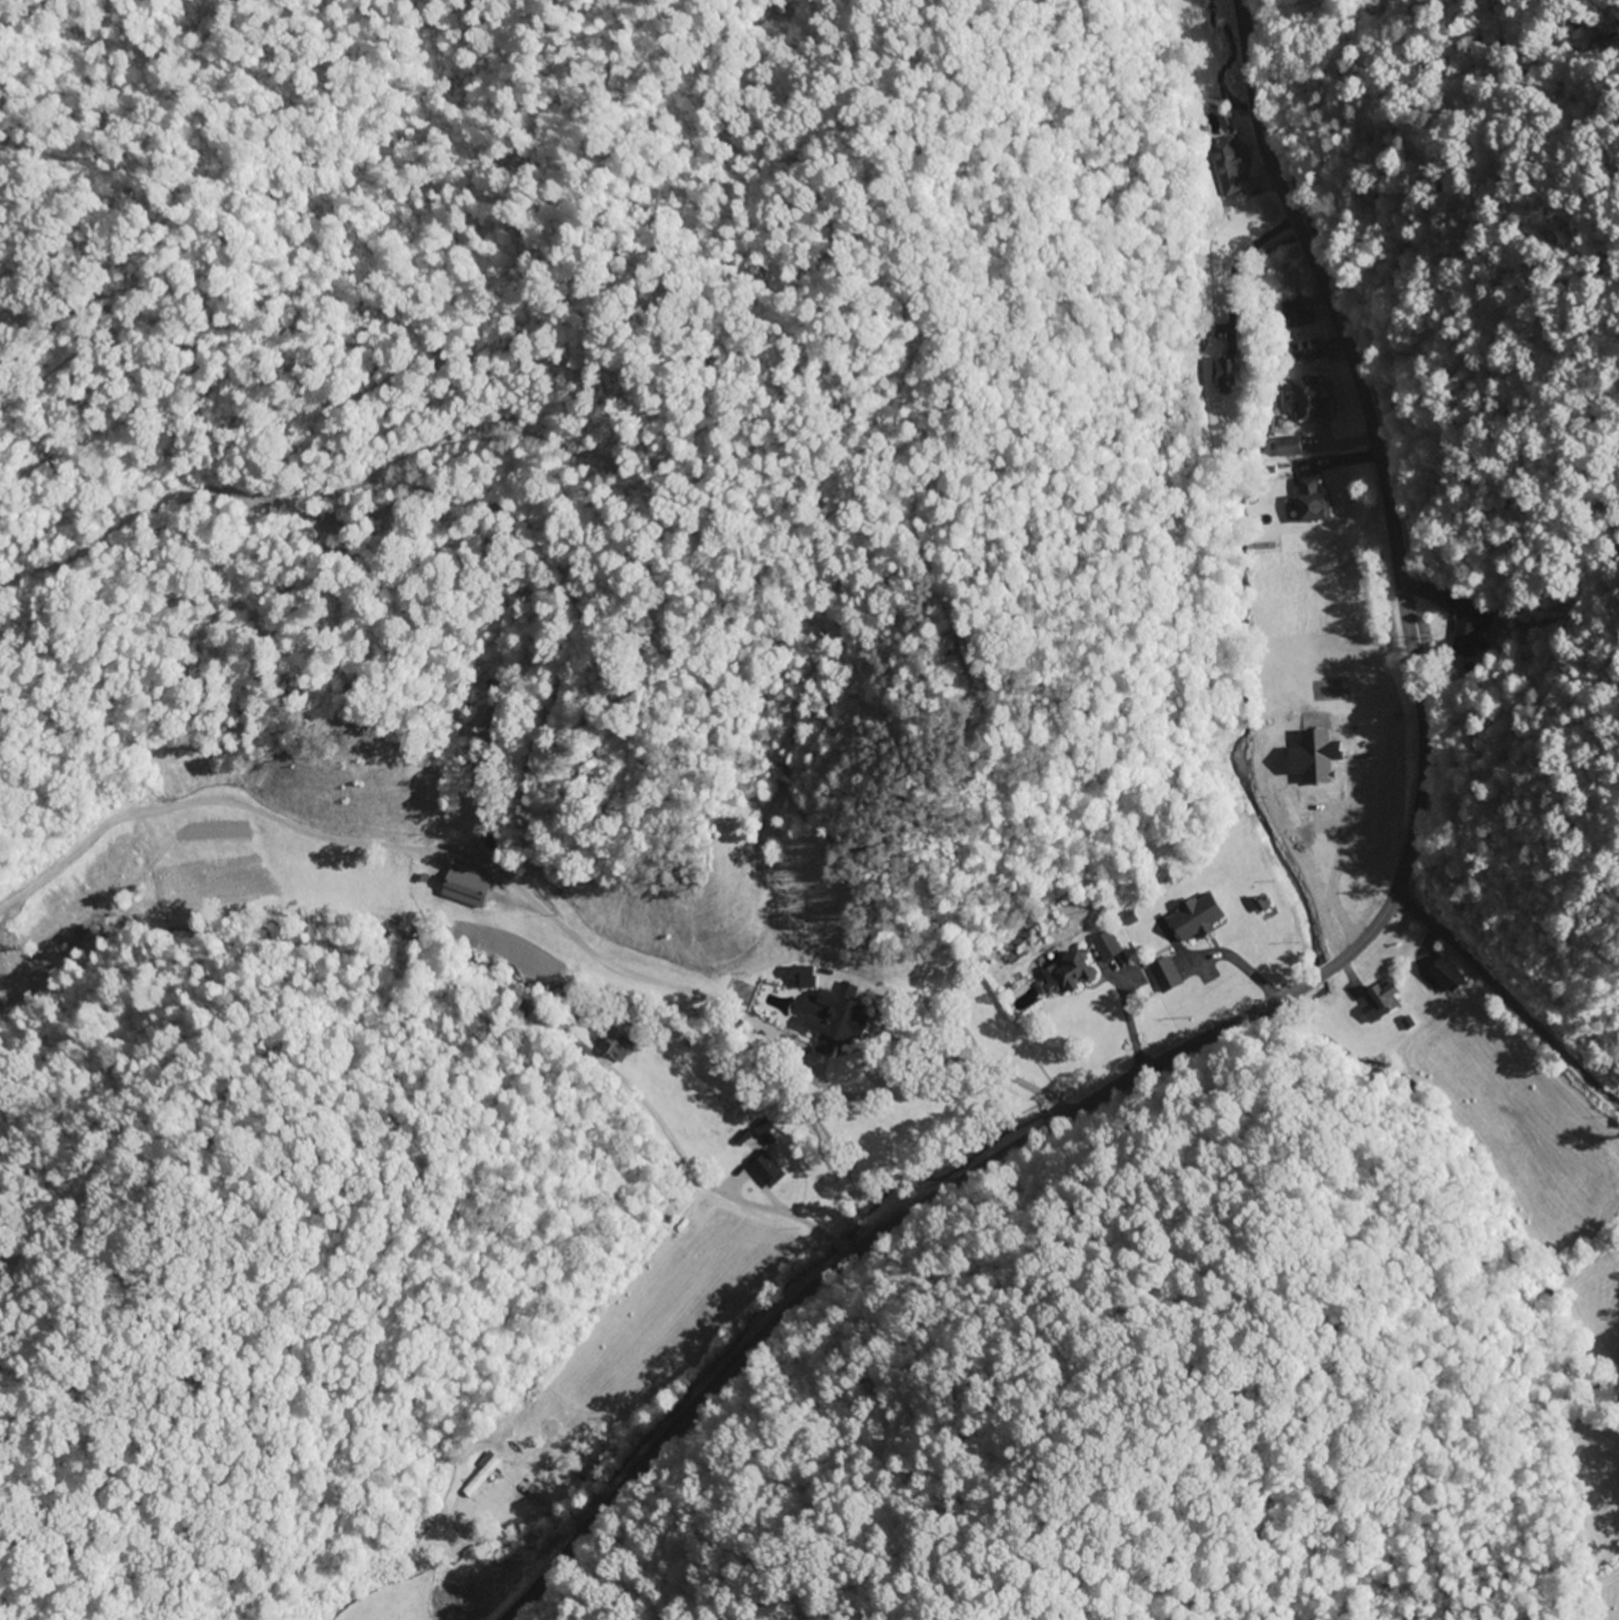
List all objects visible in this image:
building: (1297, 352)
building: (1305, 398)
building: (1306, 501)
building: (1465, 631)
building: (472, 881)
building: (1190, 919)
building: (1103, 946)
building: (1063, 975)
building: (1161, 976)
road: (1315, 979)
building: (1437, 981)
building: (1386, 996)
road: (1503, 1000)
building: (824, 1013)
building: (763, 1169)

